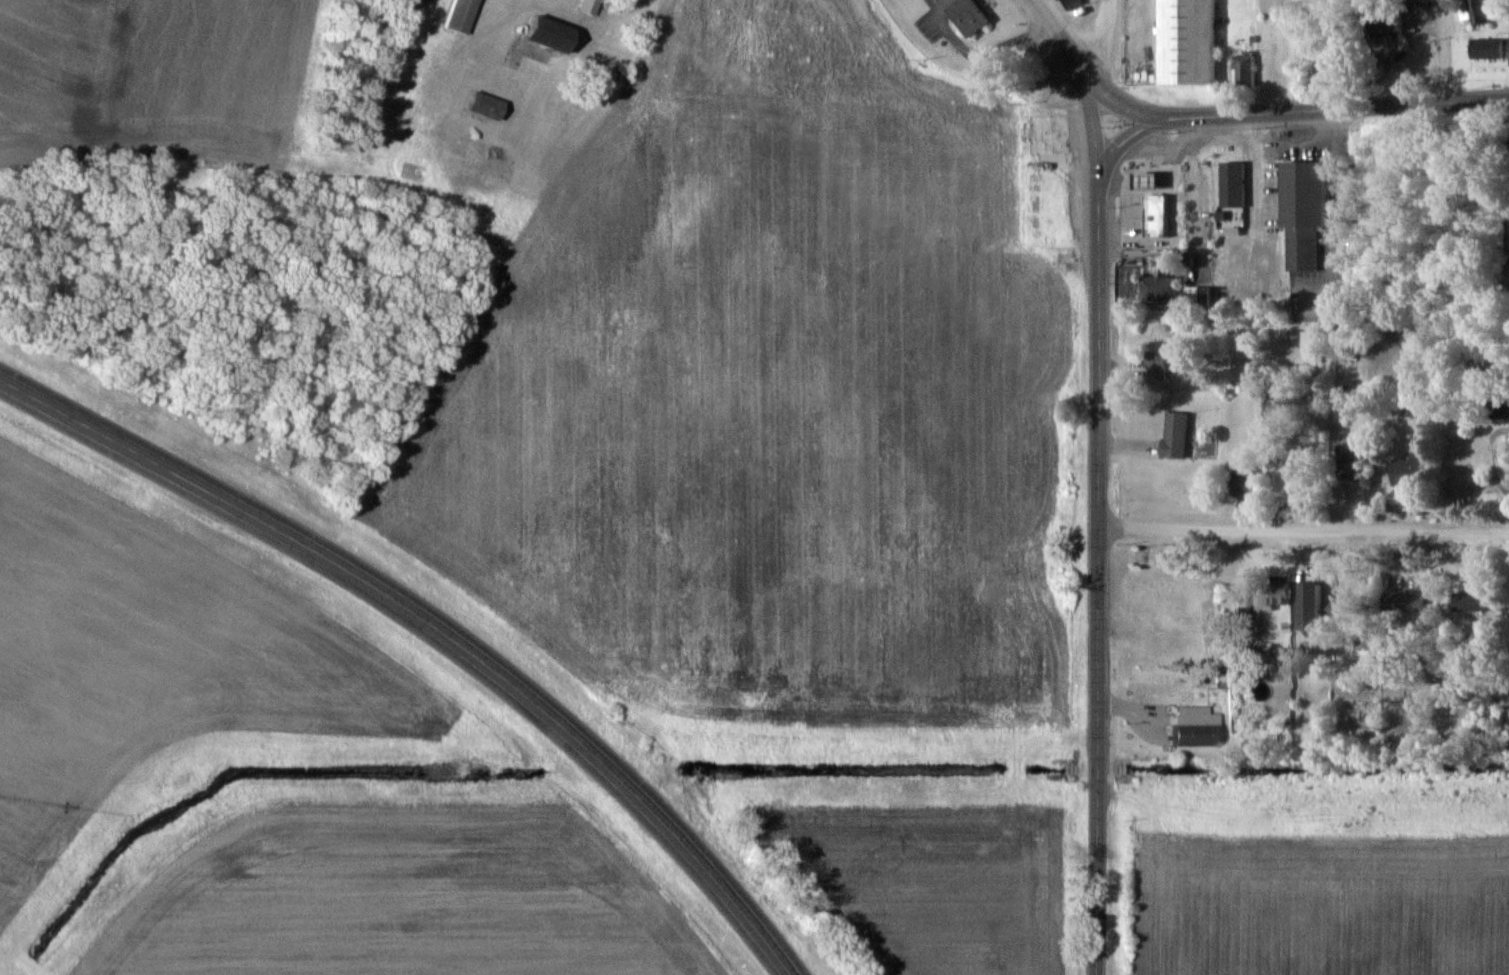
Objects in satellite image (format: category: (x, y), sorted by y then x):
building: (1071, 3)
building: (587, 6)
building: (1478, 11)
building: (460, 15)
building: (969, 16)
building: (547, 33)
road: (1095, 37)
building: (1187, 42)
building: (1487, 49)
road: (1444, 50)
road: (1071, 60)
building: (1243, 71)
building: (484, 105)
road: (1308, 108)
building: (1056, 135)
building: (1148, 180)
building: (1232, 184)
road: (1194, 190)
road: (1254, 196)
building: (1304, 212)
building: (1156, 215)
building: (1158, 288)
building: (1191, 296)
building: (1312, 347)
building: (1154, 365)
building: (1276, 404)
building: (1500, 408)
building: (1176, 436)
building: (1346, 462)
building: (1409, 471)
building: (1244, 484)
road: (1304, 531)
road: (1099, 548)
building: (1261, 591)
building: (1467, 602)
building: (1312, 607)
building: (1413, 610)
road: (433, 626)
building: (1196, 730)

